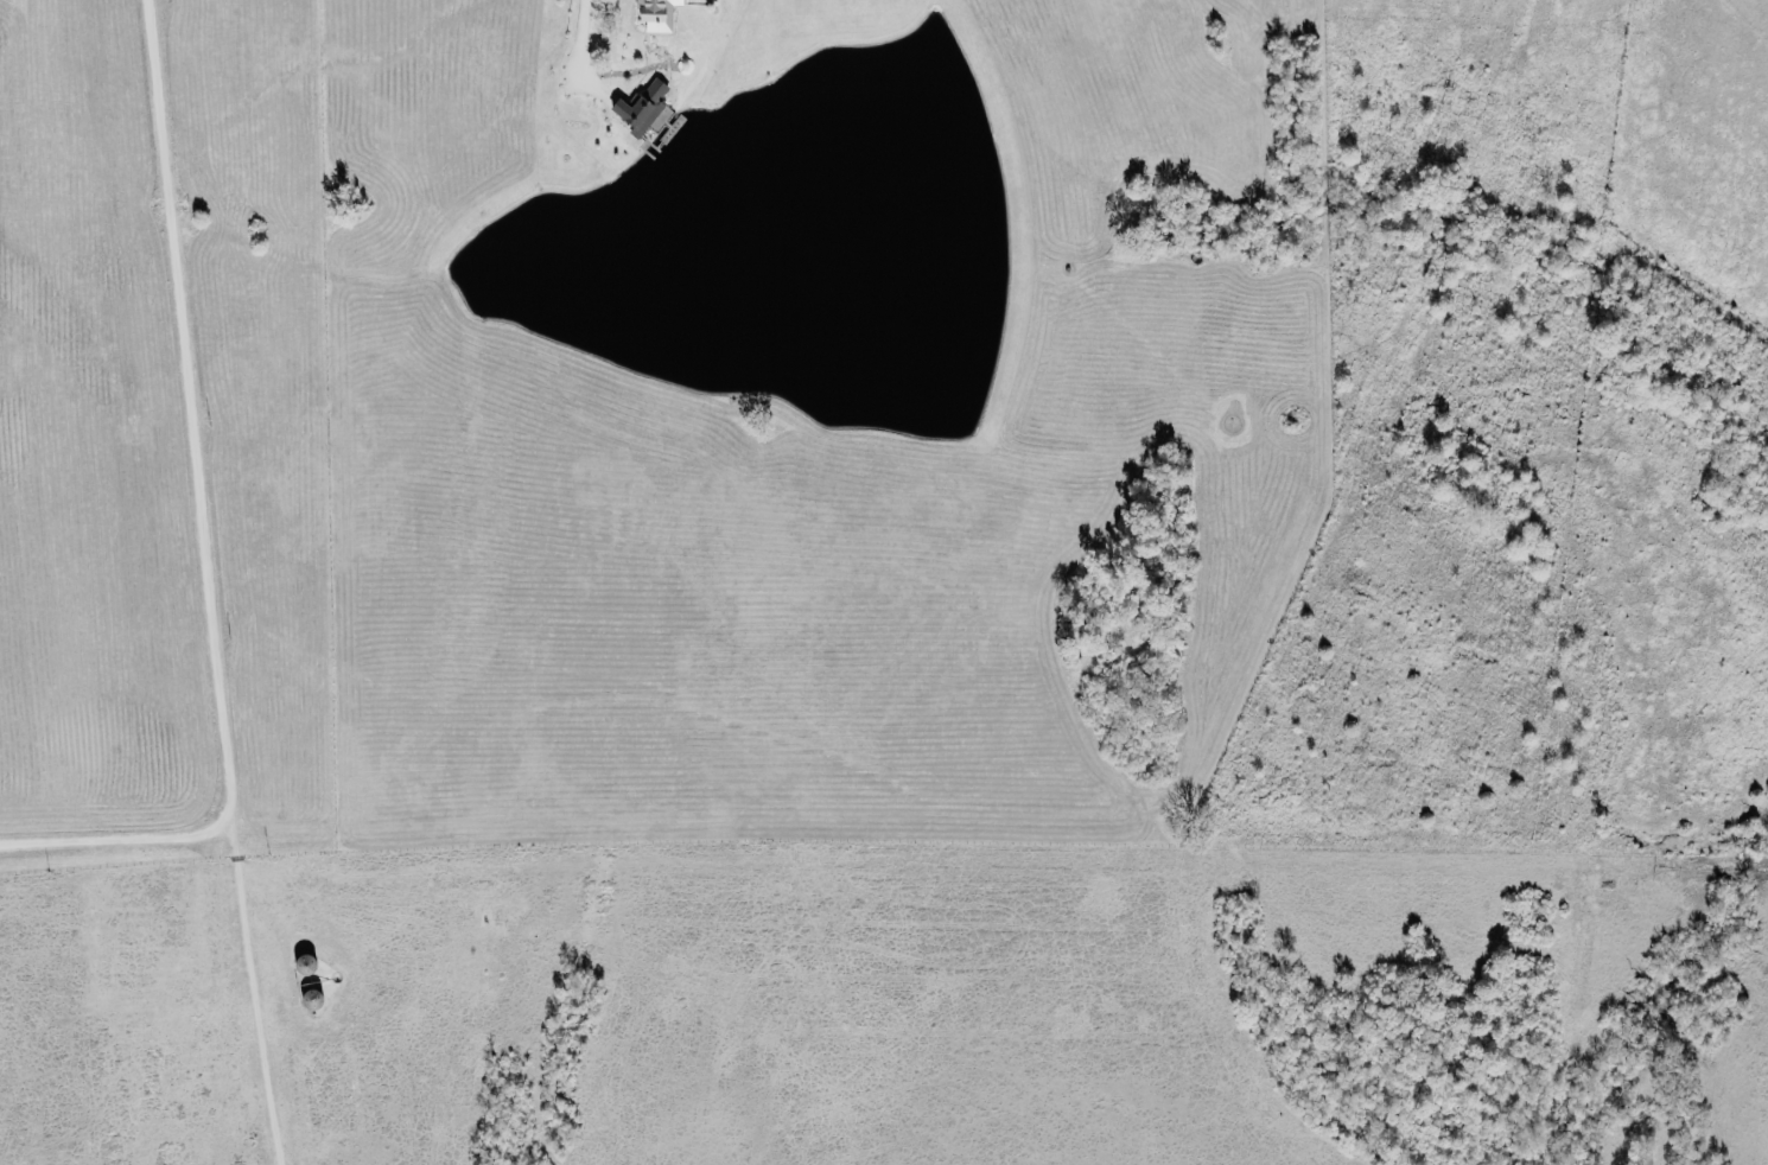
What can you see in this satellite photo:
building: (655, 14)
building: (643, 109)
road: (205, 584)
road: (114, 840)

